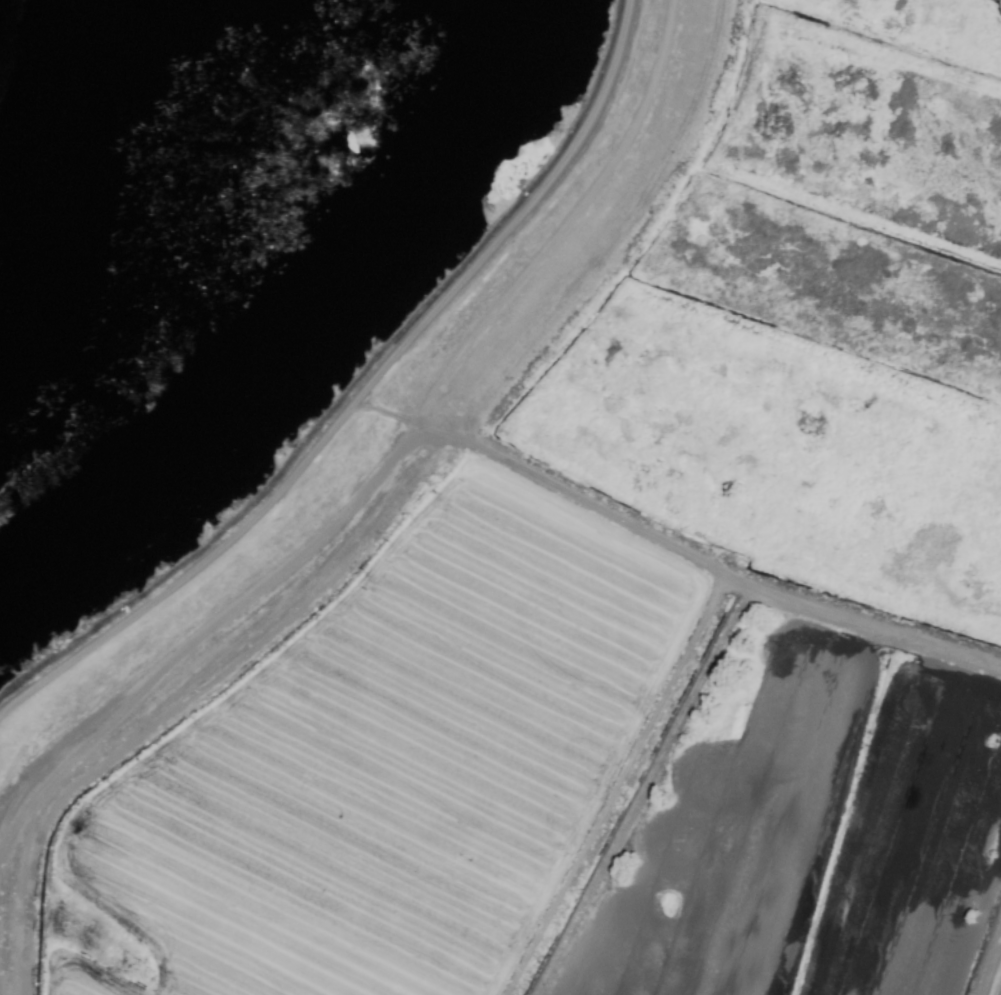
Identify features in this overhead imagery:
road: (364, 395)
crop: (620, 611)

